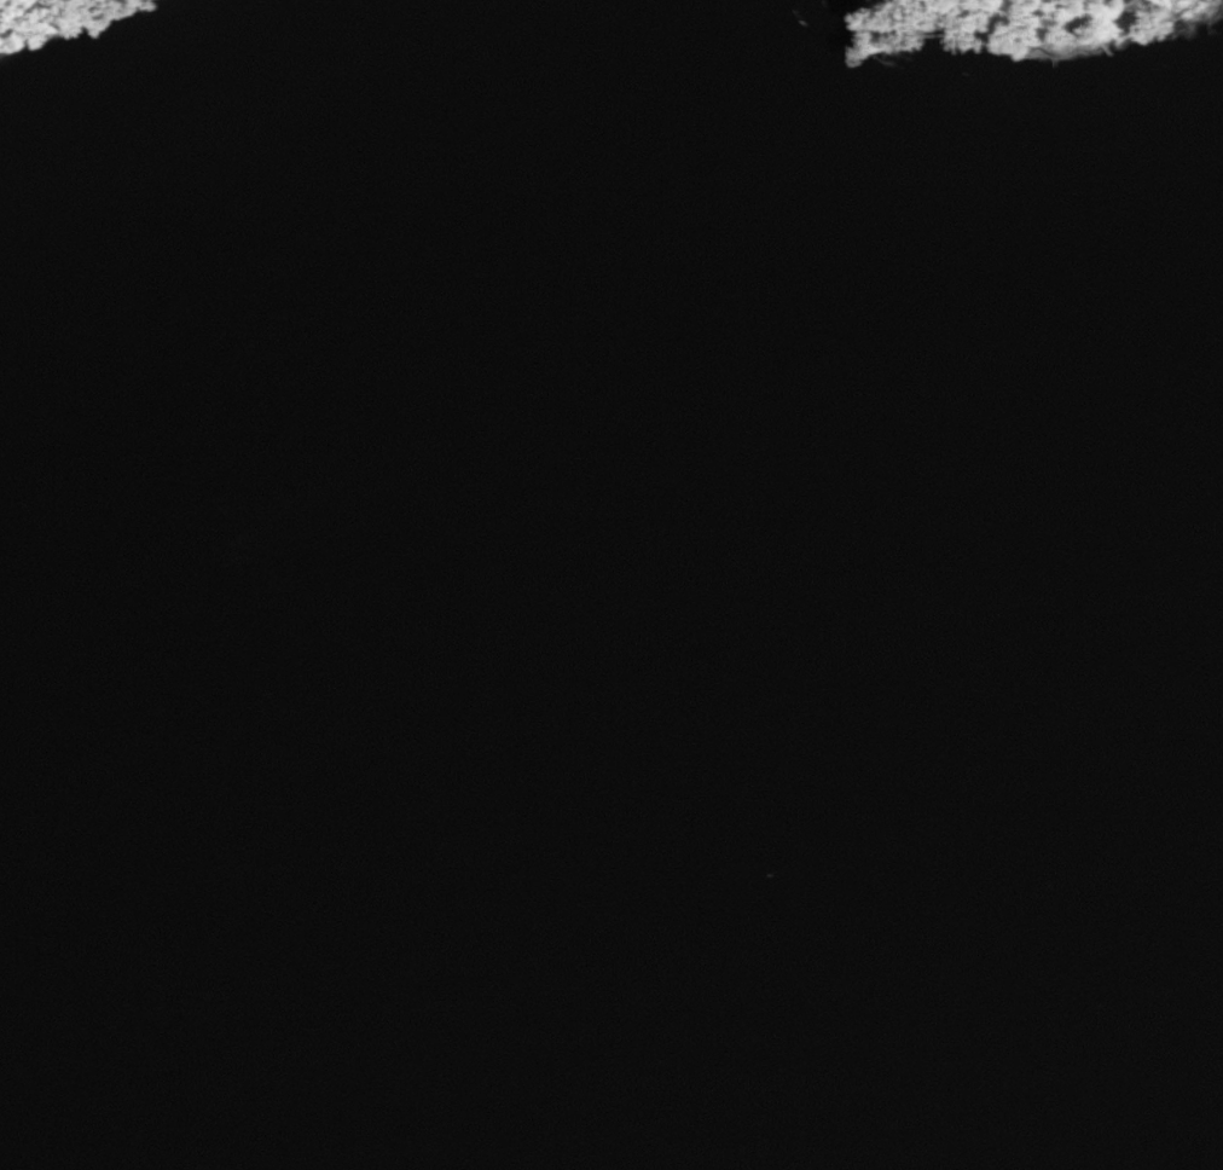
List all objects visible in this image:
river: (611, 851)

